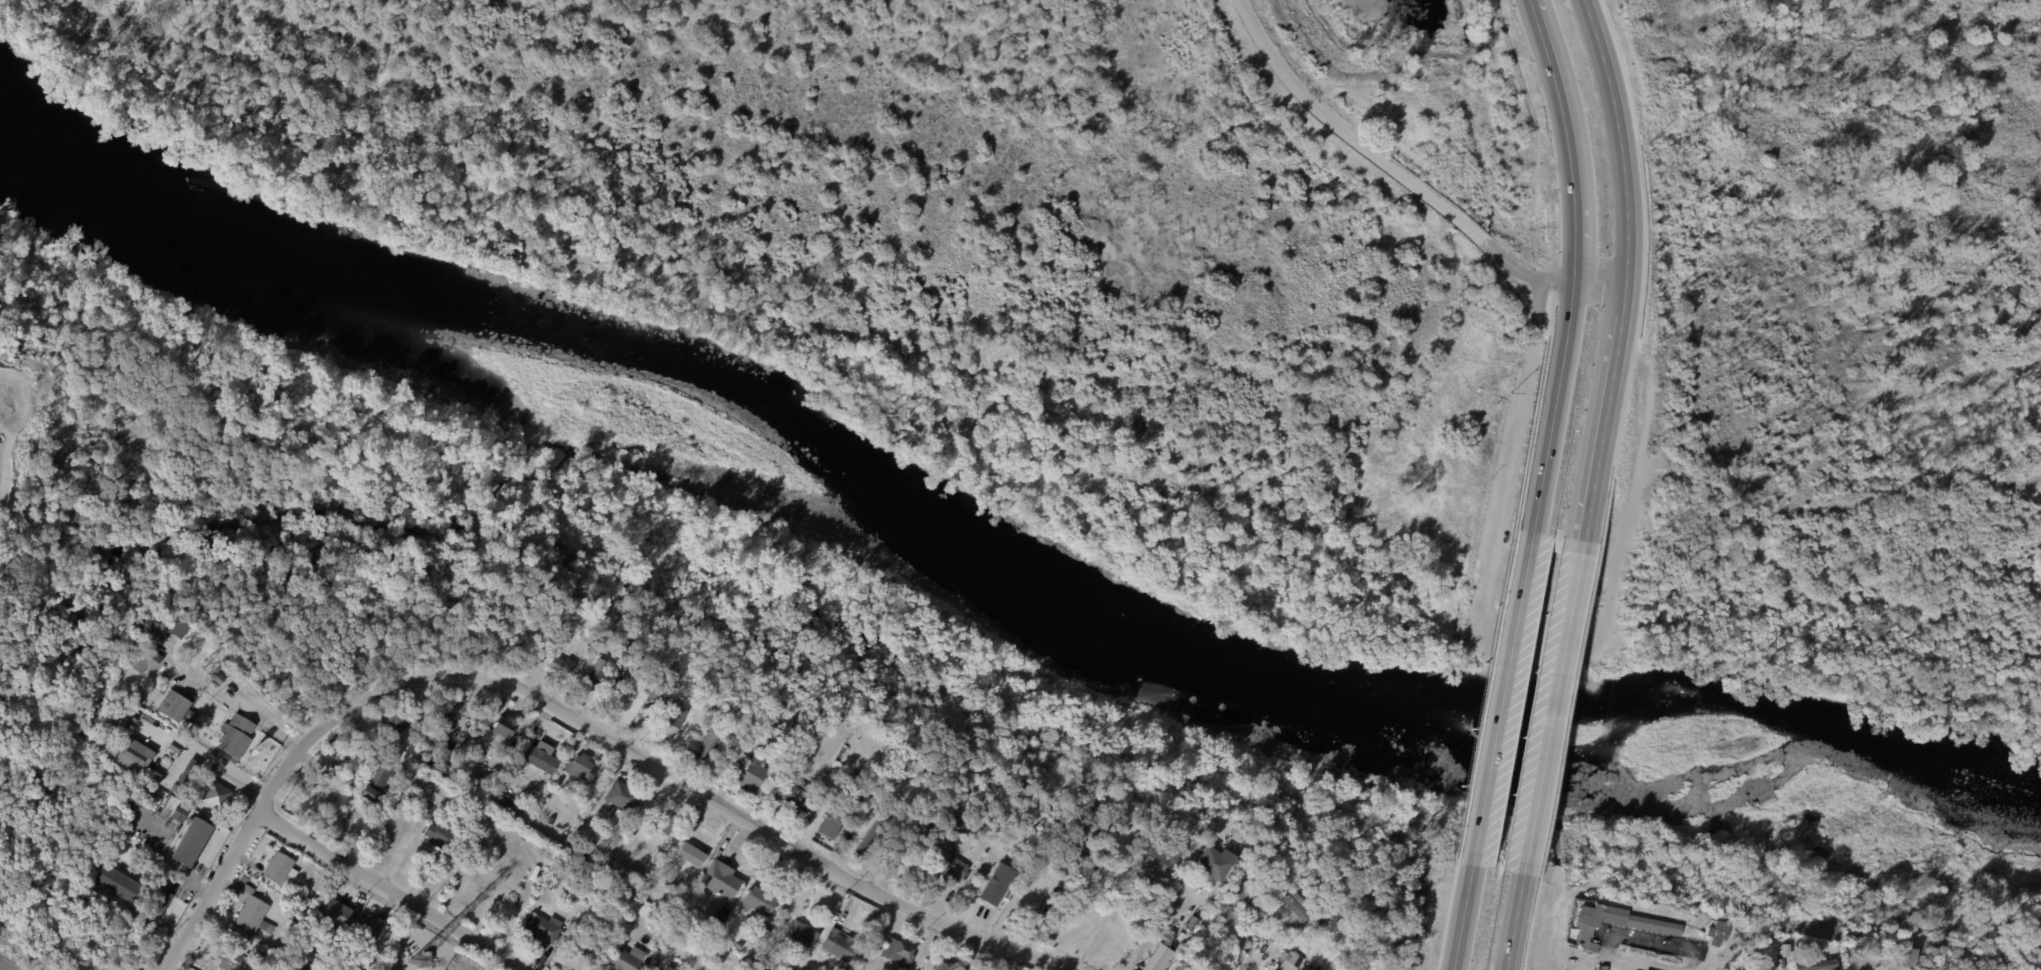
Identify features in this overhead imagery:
dam: (1380, 73)
road: (1346, 137)
road: (1570, 270)
road: (1521, 274)
road: (1622, 274)
road: (1596, 275)
road: (1831, 289)
road: (1595, 290)
road: (1830, 317)
parking lot: (10, 422)
river: (998, 542)
building: (179, 627)
building: (592, 627)
building: (150, 628)
building: (146, 660)
building: (562, 667)
building: (596, 674)
building: (218, 679)
building: (658, 691)
road: (1502, 699)
road: (237, 704)
road: (1551, 705)
building: (173, 706)
building: (427, 706)
building: (129, 709)
building: (190, 716)
building: (818, 720)
building: (671, 721)
building: (505, 727)
building: (439, 733)
building: (120, 734)
building: (236, 736)
building: (711, 742)
building: (100, 745)
building: (118, 746)
building: (342, 748)
building: (170, 750)
building: (137, 753)
building: (761, 758)
building: (168, 759)
road: (211, 759)
building: (538, 759)
building: (536, 762)
building: (777, 762)
building: (456, 763)
building: (578, 767)
building: (813, 768)
building: (329, 772)
building: (188, 773)
building: (449, 773)
building: (150, 774)
building: (796, 775)
building: (755, 779)
building: (376, 781)
building: (855, 781)
building: (227, 783)
building: (175, 789)
building: (214, 795)
building: (789, 795)
building: (842, 795)
road: (268, 796)
building: (506, 797)
building: (623, 797)
building: (514, 806)
building: (212, 811)
building: (425, 813)
building: (181, 814)
road: (739, 817)
building: (1096, 819)
building: (551, 821)
building: (667, 821)
building: (694, 824)
building: (1115, 824)
building: (831, 828)
building: (438, 835)
building: (870, 836)
building: (975, 837)
building: (191, 842)
building: (689, 854)
building: (1161, 857)
road: (155, 861)
building: (1208, 865)
building: (278, 868)
building: (987, 869)
building: (953, 871)
building: (606, 872)
building: (245, 879)
building: (720, 881)
building: (554, 882)
building: (120, 885)
building: (990, 889)
road: (390, 892)
building: (1243, 893)
building: (759, 901)
building: (158, 903)
building: (1293, 911)
road: (1462, 912)
building: (301, 914)
building: (336, 914)
building: (723, 914)
road: (1510, 914)
building: (252, 917)
building: (1038, 918)
building: (629, 919)
building: (1611, 925)
building: (293, 927)
building: (541, 929)
building: (368, 930)
road: (1155, 930)
building: (803, 934)
building: (1715, 934)
building: (325, 944)
building: (842, 947)
road: (1690, 952)
building: (1159, 953)
building: (901, 954)
building: (1795, 954)
building: (750, 956)
building: (1902, 956)
road: (1592, 958)
building: (337, 960)
building: (629, 960)
building: (235, 961)
building: (427, 961)
building: (1290, 961)
building: (766, 964)
building: (1210, 965)
building: (1813, 965)
building: (745, 966)
building: (943, 966)
building: (1175, 968)
building: (668, 969)
building: (1136, 969)

